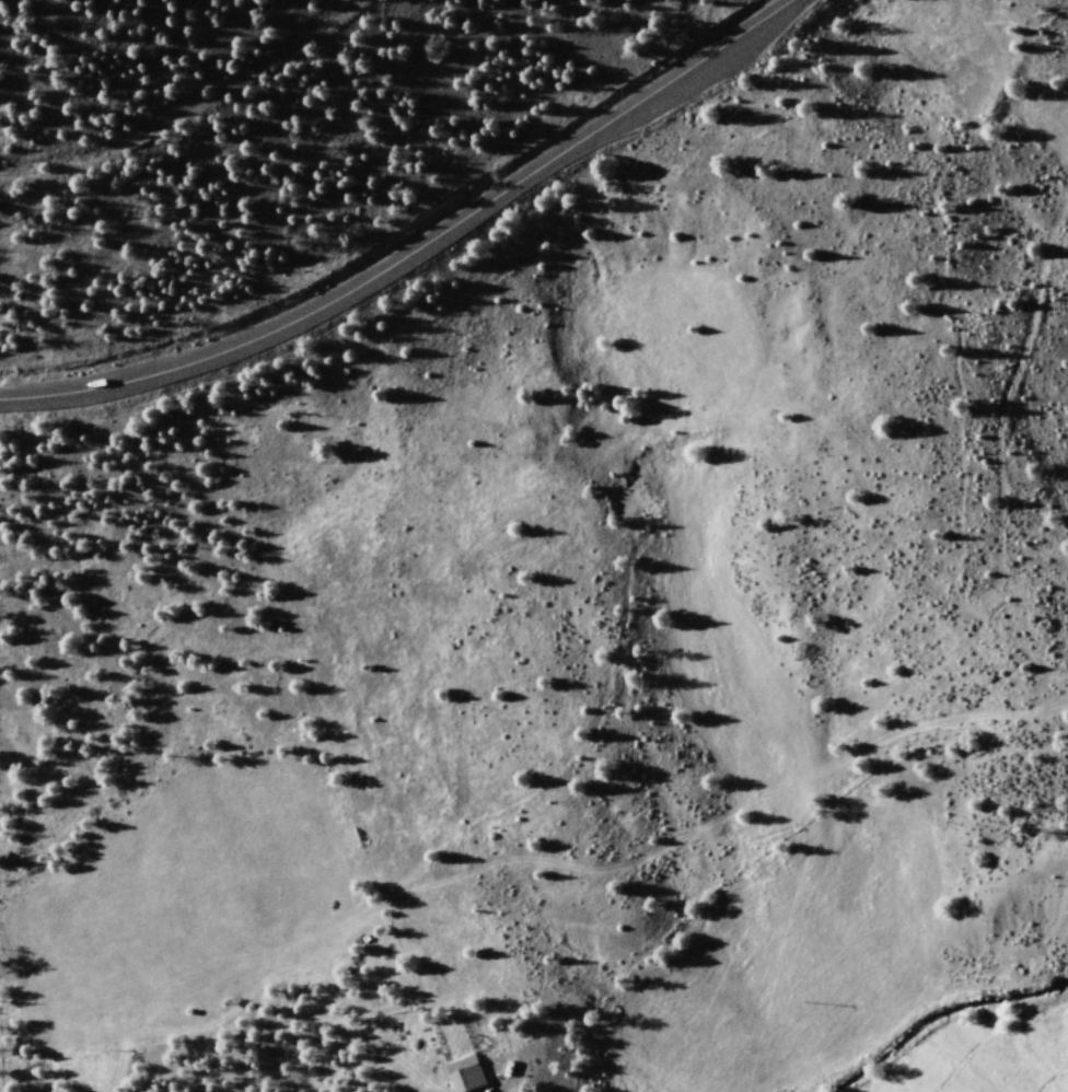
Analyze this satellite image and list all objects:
road: (427, 253)
building: (465, 1074)

